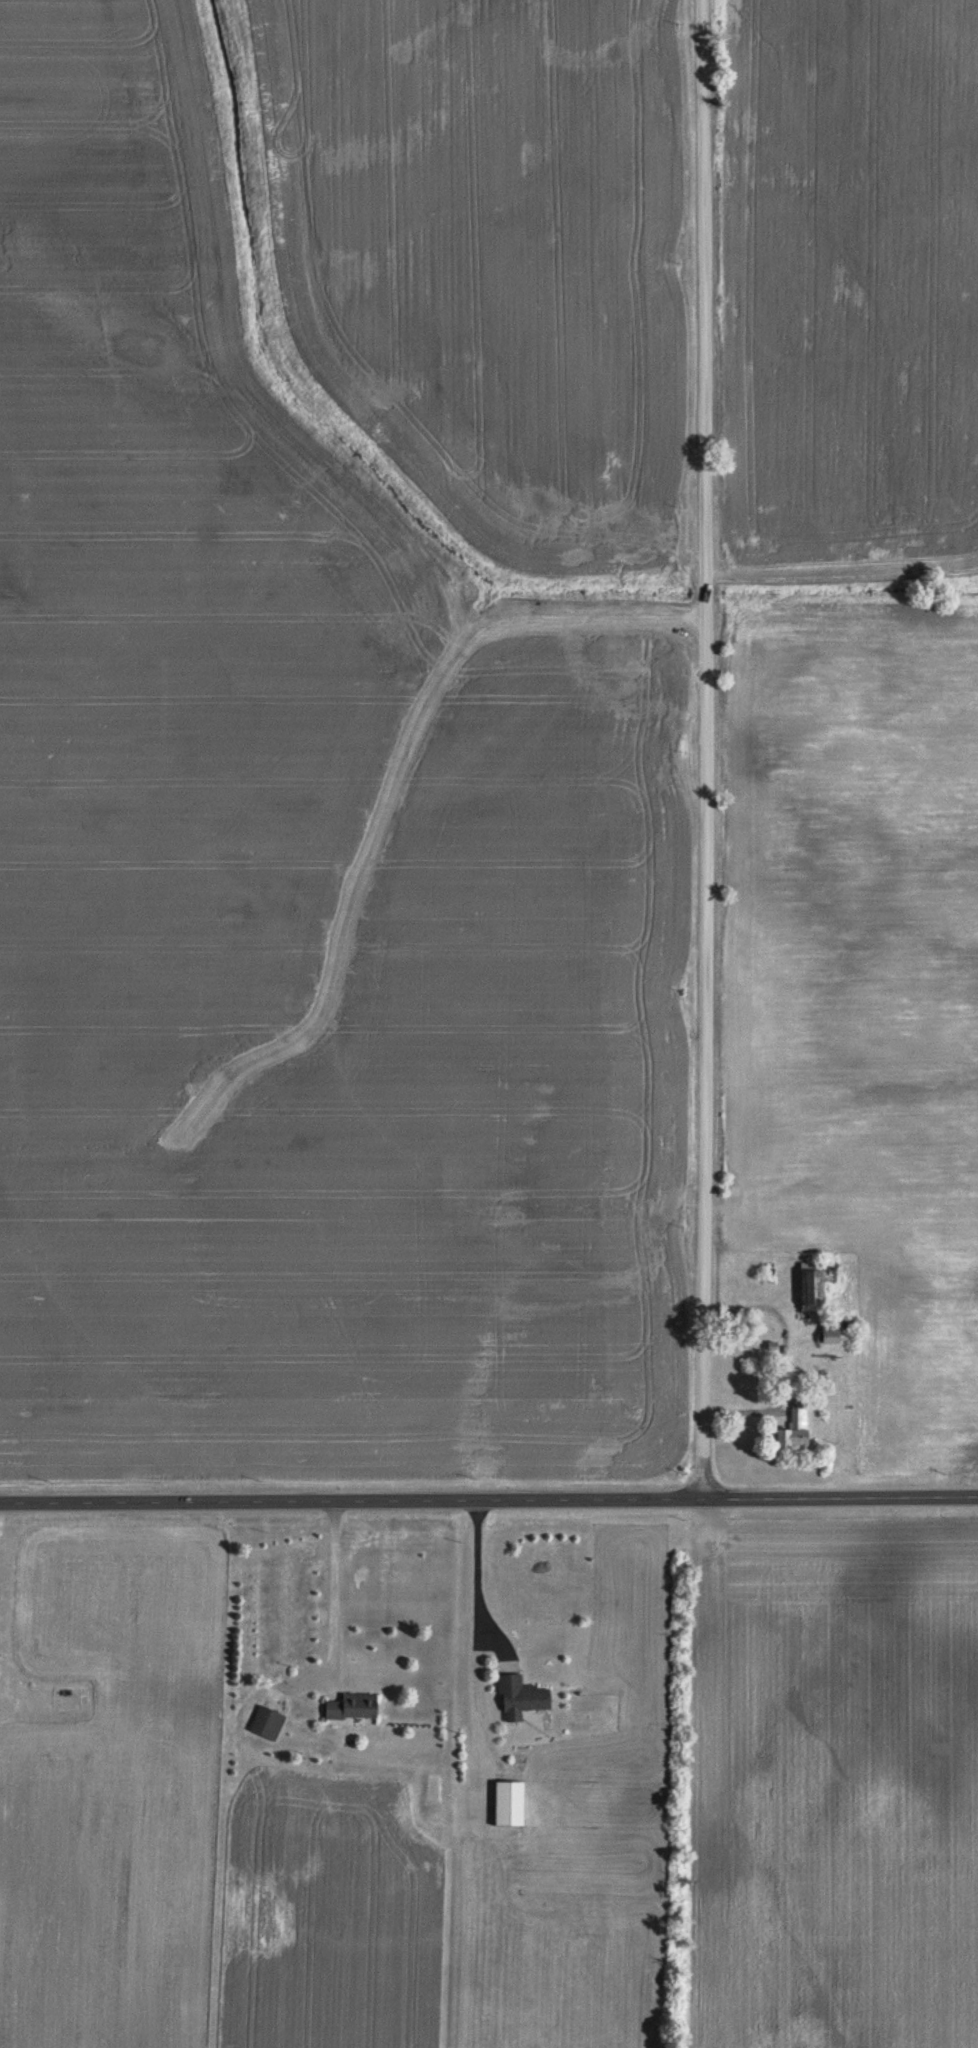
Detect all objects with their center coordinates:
road: (706, 715)
building: (813, 1282)
building: (793, 1430)
road: (702, 1467)
road: (489, 1503)
building: (520, 1696)
building: (350, 1707)
building: (266, 1722)
building: (508, 1802)

